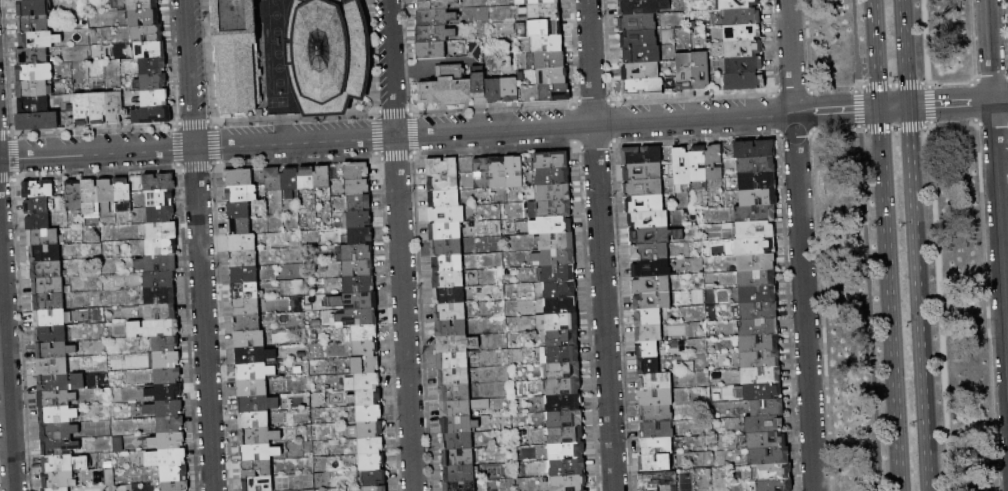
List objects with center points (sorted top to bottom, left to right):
building: (27, 0)
building: (521, 2)
building: (543, 2)
building: (437, 4)
building: (739, 4)
building: (133, 5)
building: (642, 7)
building: (32, 8)
building: (542, 11)
building: (741, 16)
building: (144, 18)
building: (435, 18)
building: (637, 23)
building: (33, 24)
building: (545, 28)
building: (743, 33)
building: (148, 34)
building: (434, 34)
building: (639, 39)
building: (38, 40)
road: (925, 41)
building: (547, 43)
road: (853, 43)
building: (150, 50)
building: (744, 50)
building: (430, 51)
road: (875, 53)
road: (904, 53)
building: (328, 55)
building: (642, 55)
building: (32, 56)
building: (550, 60)
building: (239, 62)
road: (424, 63)
building: (745, 65)
building: (153, 66)
building: (640, 71)
building: (701, 71)
building: (685, 72)
building: (34, 73)
building: (552, 76)
building: (154, 82)
building: (479, 82)
building: (745, 82)
road: (891, 83)
building: (447, 87)
building: (644, 87)
building: (34, 89)
building: (509, 90)
building: (493, 91)
building: (555, 92)
building: (155, 98)
road: (958, 103)
road: (928, 104)
building: (33, 105)
road: (893, 106)
traffic signals: (908, 106)
traffic signals: (879, 107)
building: (115, 108)
road: (856, 108)
building: (98, 109)
building: (82, 110)
building: (152, 115)
building: (37, 121)
road: (894, 128)
road: (439, 131)
building: (755, 149)
building: (641, 155)
building: (550, 160)
building: (677, 162)
building: (714, 162)
building: (698, 164)
building: (757, 165)
building: (442, 167)
building: (356, 170)
building: (515, 172)
building: (643, 172)
building: (498, 173)
building: (482, 174)
building: (239, 177)
building: (322, 177)
building: (553, 177)
building: (306, 178)
building: (757, 181)
building: (158, 182)
building: (290, 182)
building: (274, 183)
building: (443, 183)
building: (357, 187)
building: (644, 188)
road: (997, 188)
building: (38, 189)
building: (554, 193)
building: (242, 194)
building: (106, 195)
building: (123, 195)
building: (74, 196)
building: (89, 196)
building: (758, 197)
building: (160, 198)
building: (443, 199)
building: (359, 203)
building: (645, 204)
building: (37, 206)
building: (550, 209)
building: (238, 210)
building: (160, 214)
building: (755, 214)
building: (447, 215)
building: (649, 219)
building: (359, 220)
building: (38, 222)
building: (550, 225)
building: (239, 226)
building: (162, 230)
building: (755, 230)
building: (445, 231)
building: (655, 235)
building: (360, 236)
building: (44, 238)
building: (557, 241)
building: (242, 242)
park: (900, 244)
road: (199, 245)
road: (400, 245)
road: (600, 245)
road: (801, 245)
building: (753, 246)
building: (161, 247)
building: (447, 247)
building: (357, 252)
building: (650, 252)
building: (45, 254)
building: (555, 257)
building: (243, 258)
building: (756, 262)
building: (157, 263)
building: (449, 264)
building: (359, 268)
building: (652, 269)
building: (46, 270)
building: (558, 274)
building: (244, 275)
building: (756, 278)
building: (160, 280)
building: (448, 280)
building: (359, 284)
building: (652, 285)
building: (49, 286)
building: (560, 290)
building: (245, 291)
building: (758, 294)
building: (160, 296)
building: (449, 296)
road: (918, 298)
road: (889, 299)
building: (355, 301)
building: (653, 301)
building: (49, 302)
building: (561, 306)
building: (246, 307)
road: (940, 309)
building: (759, 310)
road: (868, 311)
building: (161, 312)
building: (450, 312)
building: (358, 317)
building: (648, 317)
building: (50, 318)
building: (558, 322)
building: (247, 323)
building: (758, 327)
building: (451, 328)
building: (154, 329)
building: (649, 333)
building: (360, 334)
building: (51, 335)
building: (562, 338)
building: (249, 339)
building: (759, 343)
building: (165, 344)
building: (457, 344)
building: (366, 349)
building: (648, 349)
building: (54, 351)
building: (563, 354)
building: (254, 355)
building: (760, 359)
building: (166, 360)
building: (453, 360)
building: (365, 365)
building: (648, 365)
building: (53, 367)
road: (6, 369)
building: (564, 370)
building: (254, 372)
building: (168, 376)
building: (761, 376)
building: (454, 377)
building: (654, 381)
building: (363, 382)
building: (61, 383)
building: (563, 387)
building: (252, 388)
building: (165, 392)
building: (762, 392)
building: (454, 393)
building: (365, 398)
building: (655, 398)
building: (56, 399)
building: (564, 403)
building: (257, 404)
building: (164, 408)
building: (463, 408)
building: (768, 408)
building: (369, 413)
building: (656, 414)
building: (58, 415)
building: (565, 419)
building: (254, 420)
building: (170, 424)
building: (764, 424)
building: (458, 425)
building: (367, 430)
building: (657, 430)
building: (59, 431)
building: (566, 435)
building: (259, 436)
building: (766, 440)
building: (168, 441)
building: (457, 441)
building: (370, 446)
building: (656, 446)
building: (59, 447)
building: (566, 451)
building: (259, 452)
building: (770, 456)
building: (458, 457)
building: (166, 458)
building: (371, 462)
building: (64, 463)
building: (655, 463)
building: (567, 467)
building: (256, 468)
building: (775, 472)
building: (174, 473)
building: (459, 474)
building: (375, 478)
building: (57, 480)
building: (657, 480)
building: (257, 483)
building: (569, 483)
building: (775, 485)
building: (176, 486)
building: (460, 486)
building: (376, 488)
building: (669, 488)
building: (57, 489)

